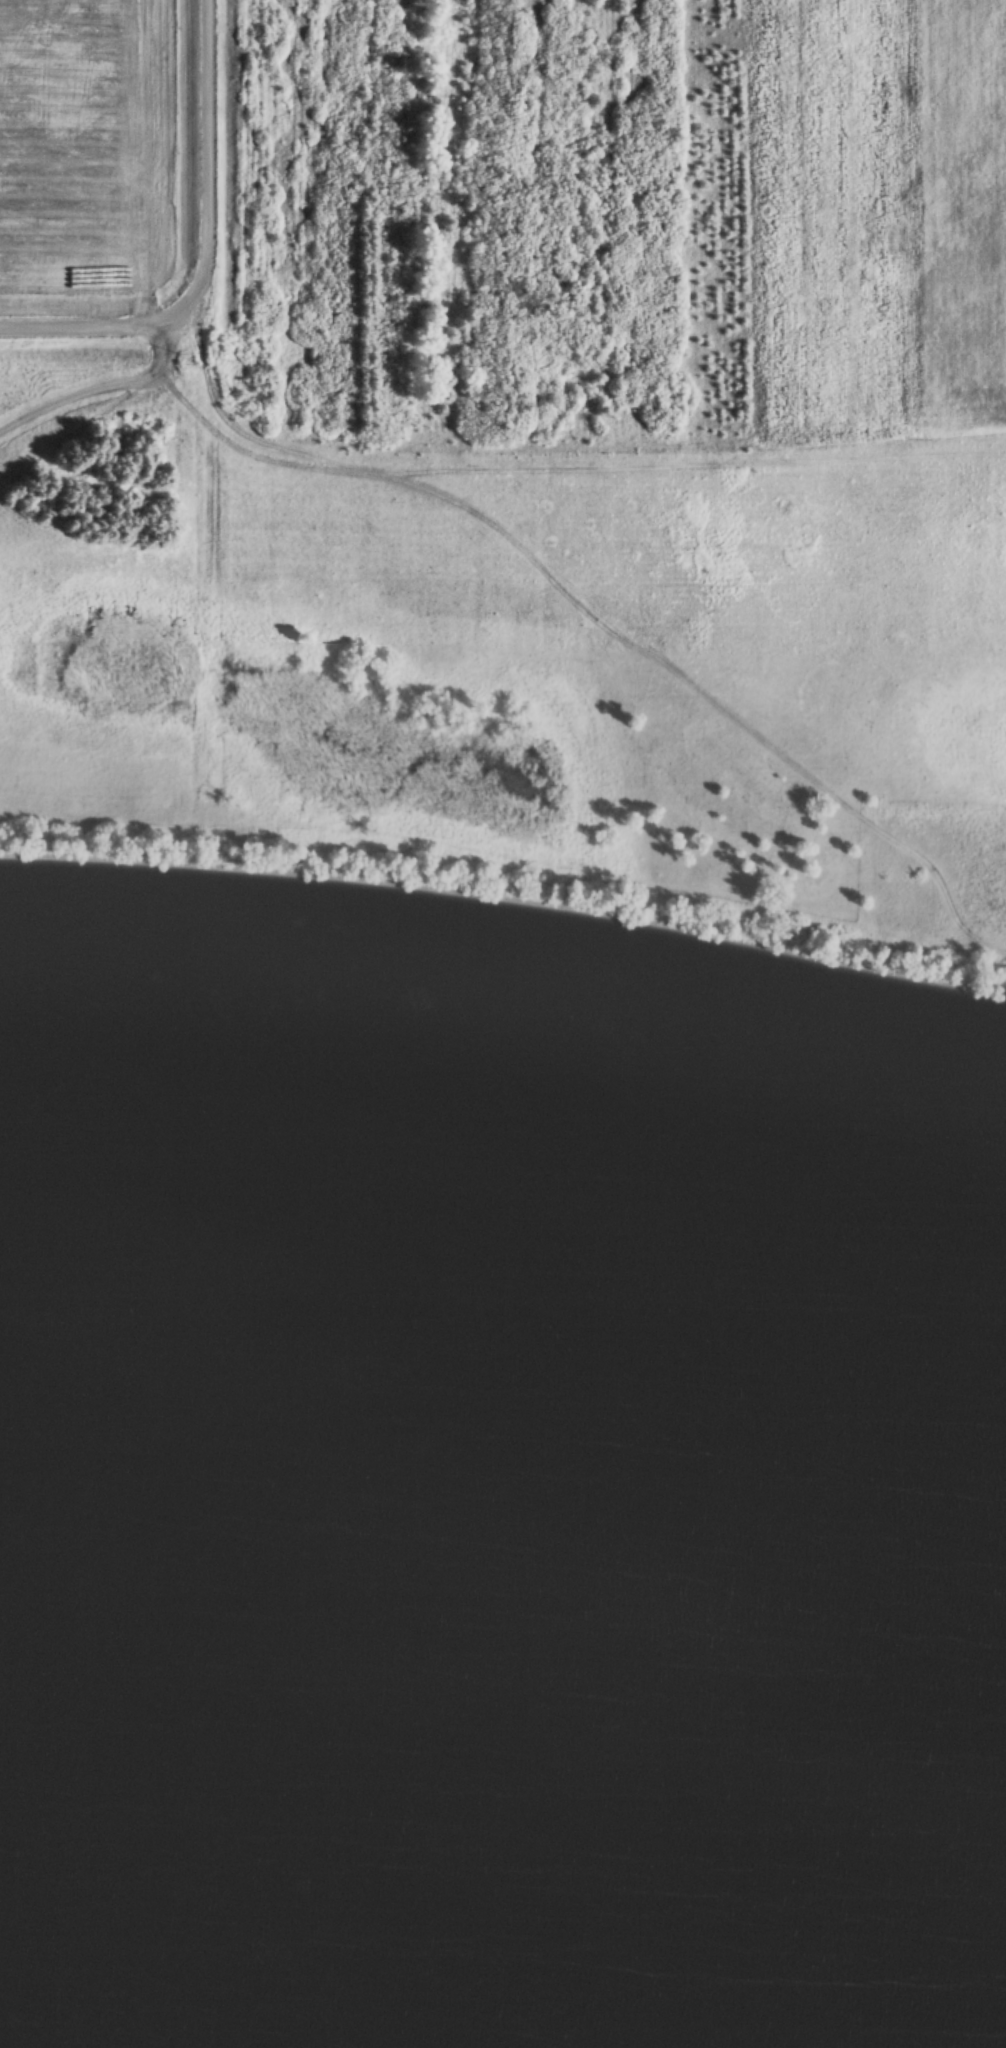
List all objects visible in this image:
road: (213, 151)
road: (102, 326)
road: (107, 384)

